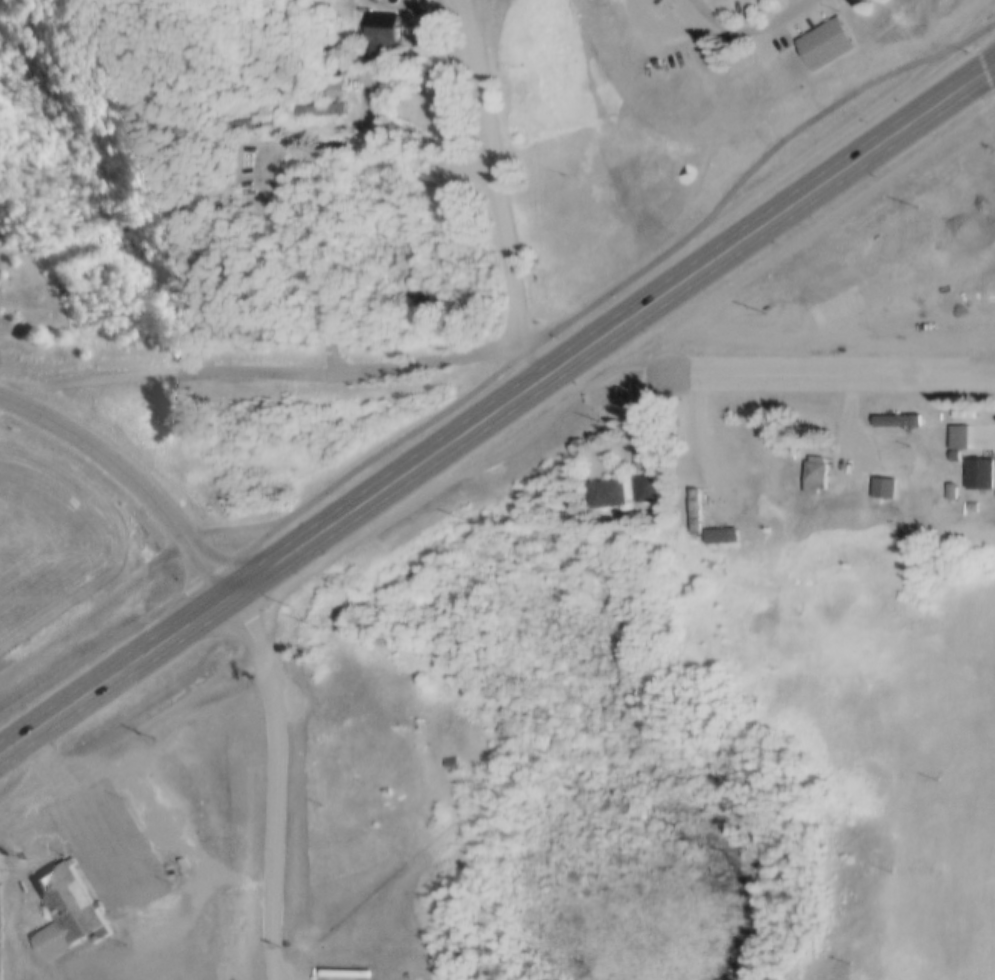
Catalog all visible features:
building: (733, 0)
building: (382, 30)
road: (747, 33)
building: (823, 39)
building: (332, 86)
building: (319, 105)
building: (246, 120)
road: (404, 145)
building: (216, 164)
road: (497, 175)
road: (301, 261)
road: (645, 306)
building: (833, 310)
road: (447, 359)
road: (832, 370)
road: (501, 371)
road: (169, 372)
building: (896, 416)
road: (856, 429)
building: (958, 433)
road: (710, 444)
building: (816, 467)
building: (980, 469)
road: (130, 477)
building: (645, 483)
building: (883, 484)
building: (607, 488)
building: (950, 488)
building: (720, 532)
building: (712, 560)
road: (147, 653)
building: (320, 758)
road: (280, 781)
road: (81, 818)
building: (68, 913)

